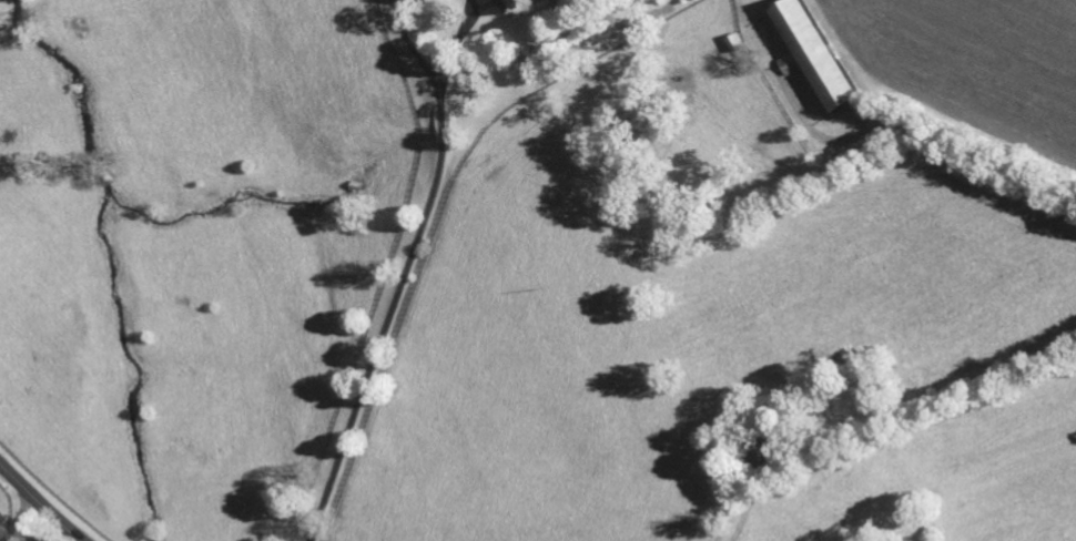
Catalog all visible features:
building: (514, 6)
building: (814, 53)
road: (403, 268)
road: (38, 504)
road: (18, 518)
road: (742, 521)

